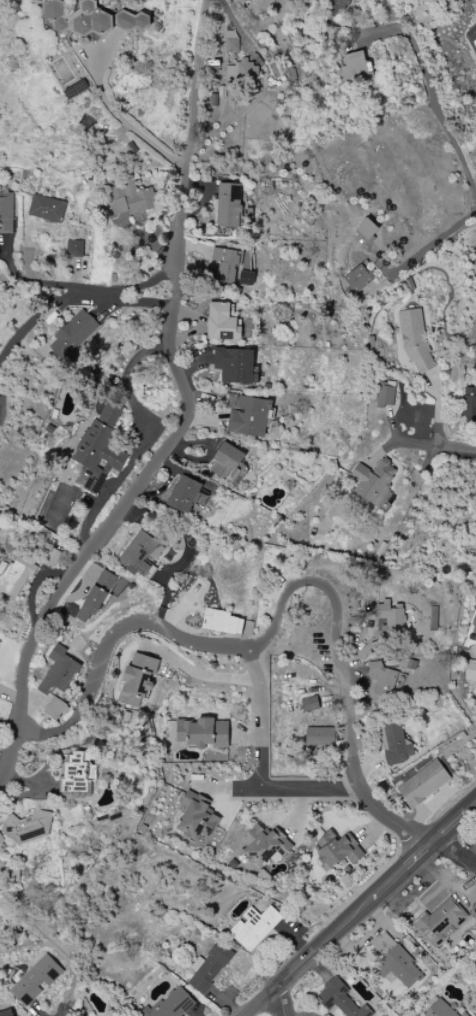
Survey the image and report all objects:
building: (433, 1)
building: (335, 7)
park: (111, 8)
building: (388, 14)
building: (90, 19)
building: (471, 38)
building: (355, 68)
building: (241, 72)
road: (436, 106)
road: (121, 118)
building: (126, 200)
building: (228, 205)
building: (46, 209)
building: (6, 213)
road: (433, 244)
building: (74, 249)
building: (225, 265)
building: (359, 277)
building: (246, 278)
road: (145, 285)
road: (31, 292)
road: (118, 301)
building: (221, 323)
road: (30, 333)
building: (72, 335)
building: (414, 339)
building: (475, 349)
building: (234, 365)
building: (385, 394)
building: (469, 404)
building: (2, 410)
road: (188, 416)
building: (101, 442)
road: (141, 443)
road: (421, 443)
building: (226, 463)
building: (373, 481)
building: (183, 494)
building: (138, 554)
building: (51, 557)
building: (14, 577)
building: (96, 595)
road: (283, 608)
building: (390, 618)
building: (221, 622)
building: (472, 630)
building: (0, 644)
building: (473, 650)
building: (58, 671)
building: (470, 671)
road: (200, 676)
building: (137, 680)
building: (382, 680)
building: (475, 696)
building: (309, 704)
building: (55, 709)
road: (262, 715)
building: (202, 733)
building: (319, 736)
building: (394, 742)
building: (76, 775)
building: (422, 783)
road: (293, 789)
building: (196, 818)
building: (30, 827)
building: (1, 840)
building: (264, 846)
building: (337, 850)
road: (453, 853)
road: (359, 908)
building: (439, 922)
building: (254, 927)
building: (394, 962)
building: (208, 968)
building: (36, 980)
building: (338, 999)
road: (280, 1000)
building: (172, 1004)
building: (440, 1010)
building: (6, 1013)
road: (42, 1014)
building: (463, 1014)

